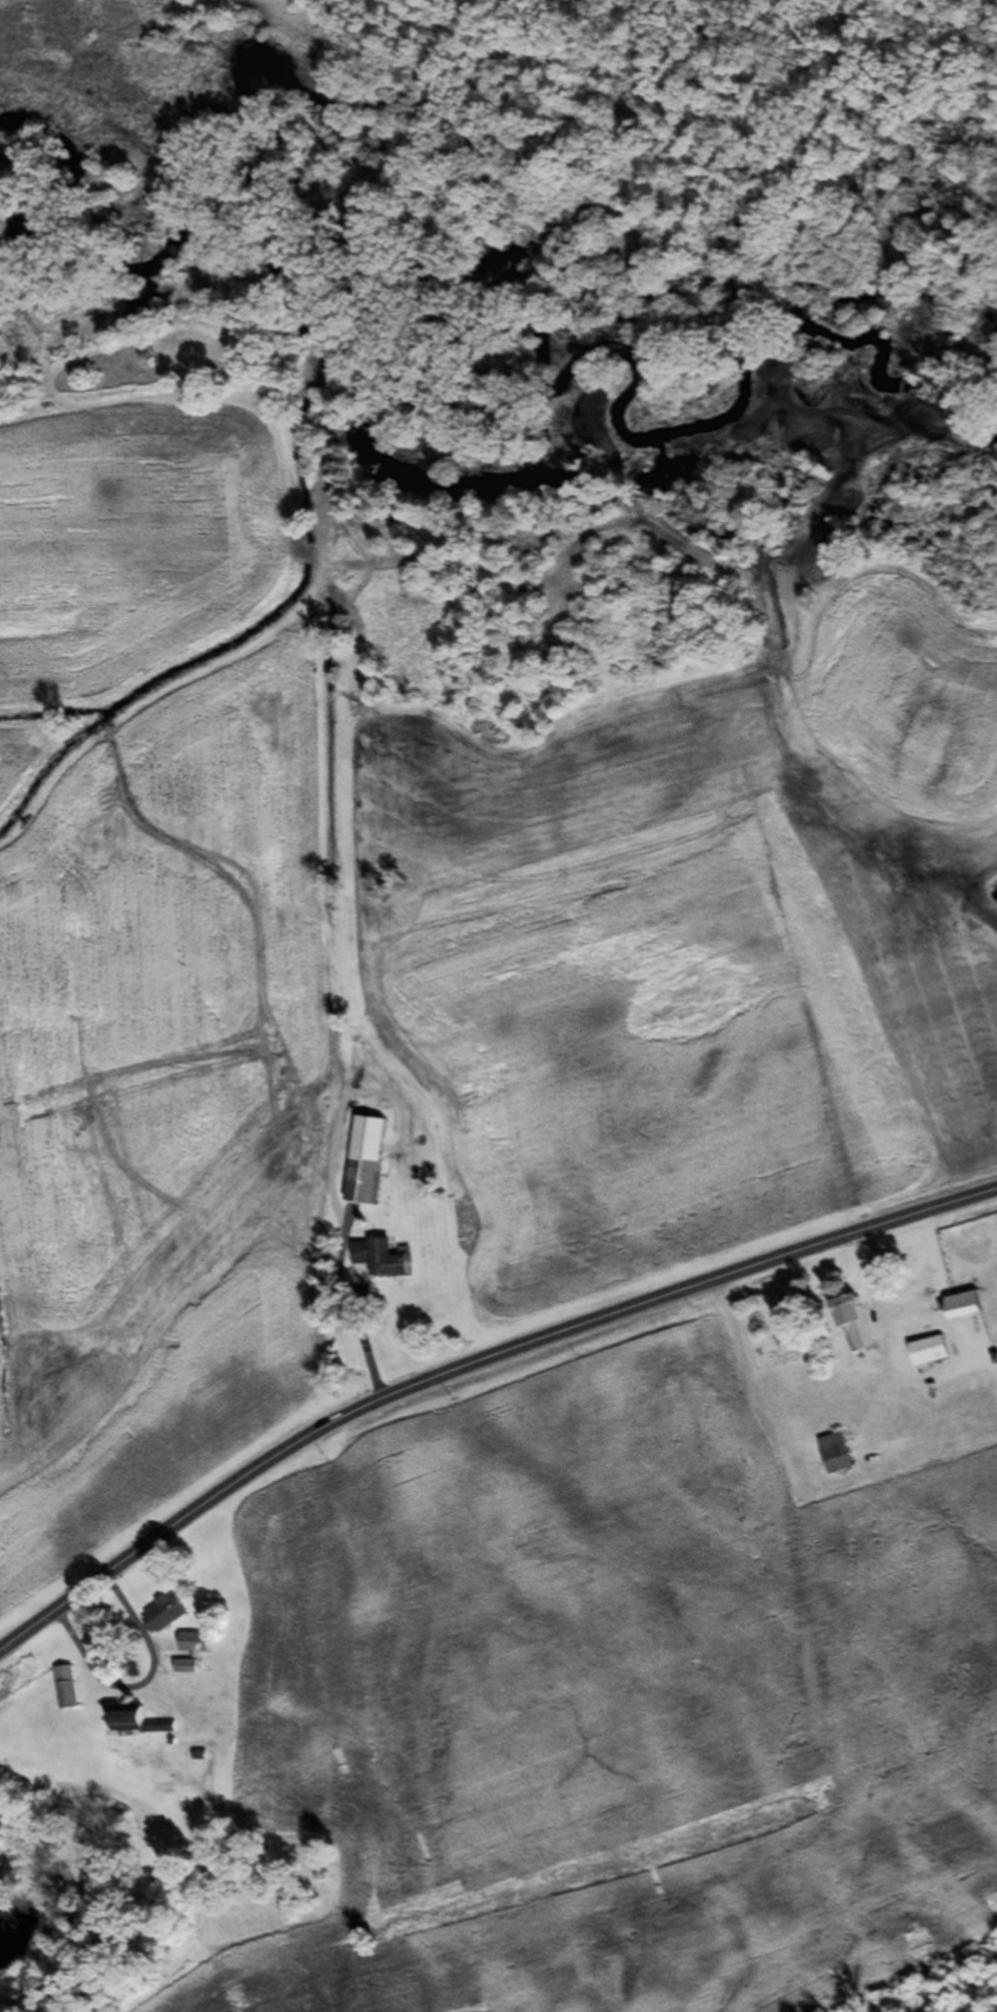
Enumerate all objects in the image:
building: (365, 1166)
building: (379, 1265)
road: (347, 1309)
building: (962, 1311)
building: (851, 1329)
building: (927, 1357)
road: (471, 1365)
building: (835, 1459)
building: (162, 1619)
building: (192, 1649)
building: (183, 1673)
building: (63, 1694)
building: (137, 1727)

